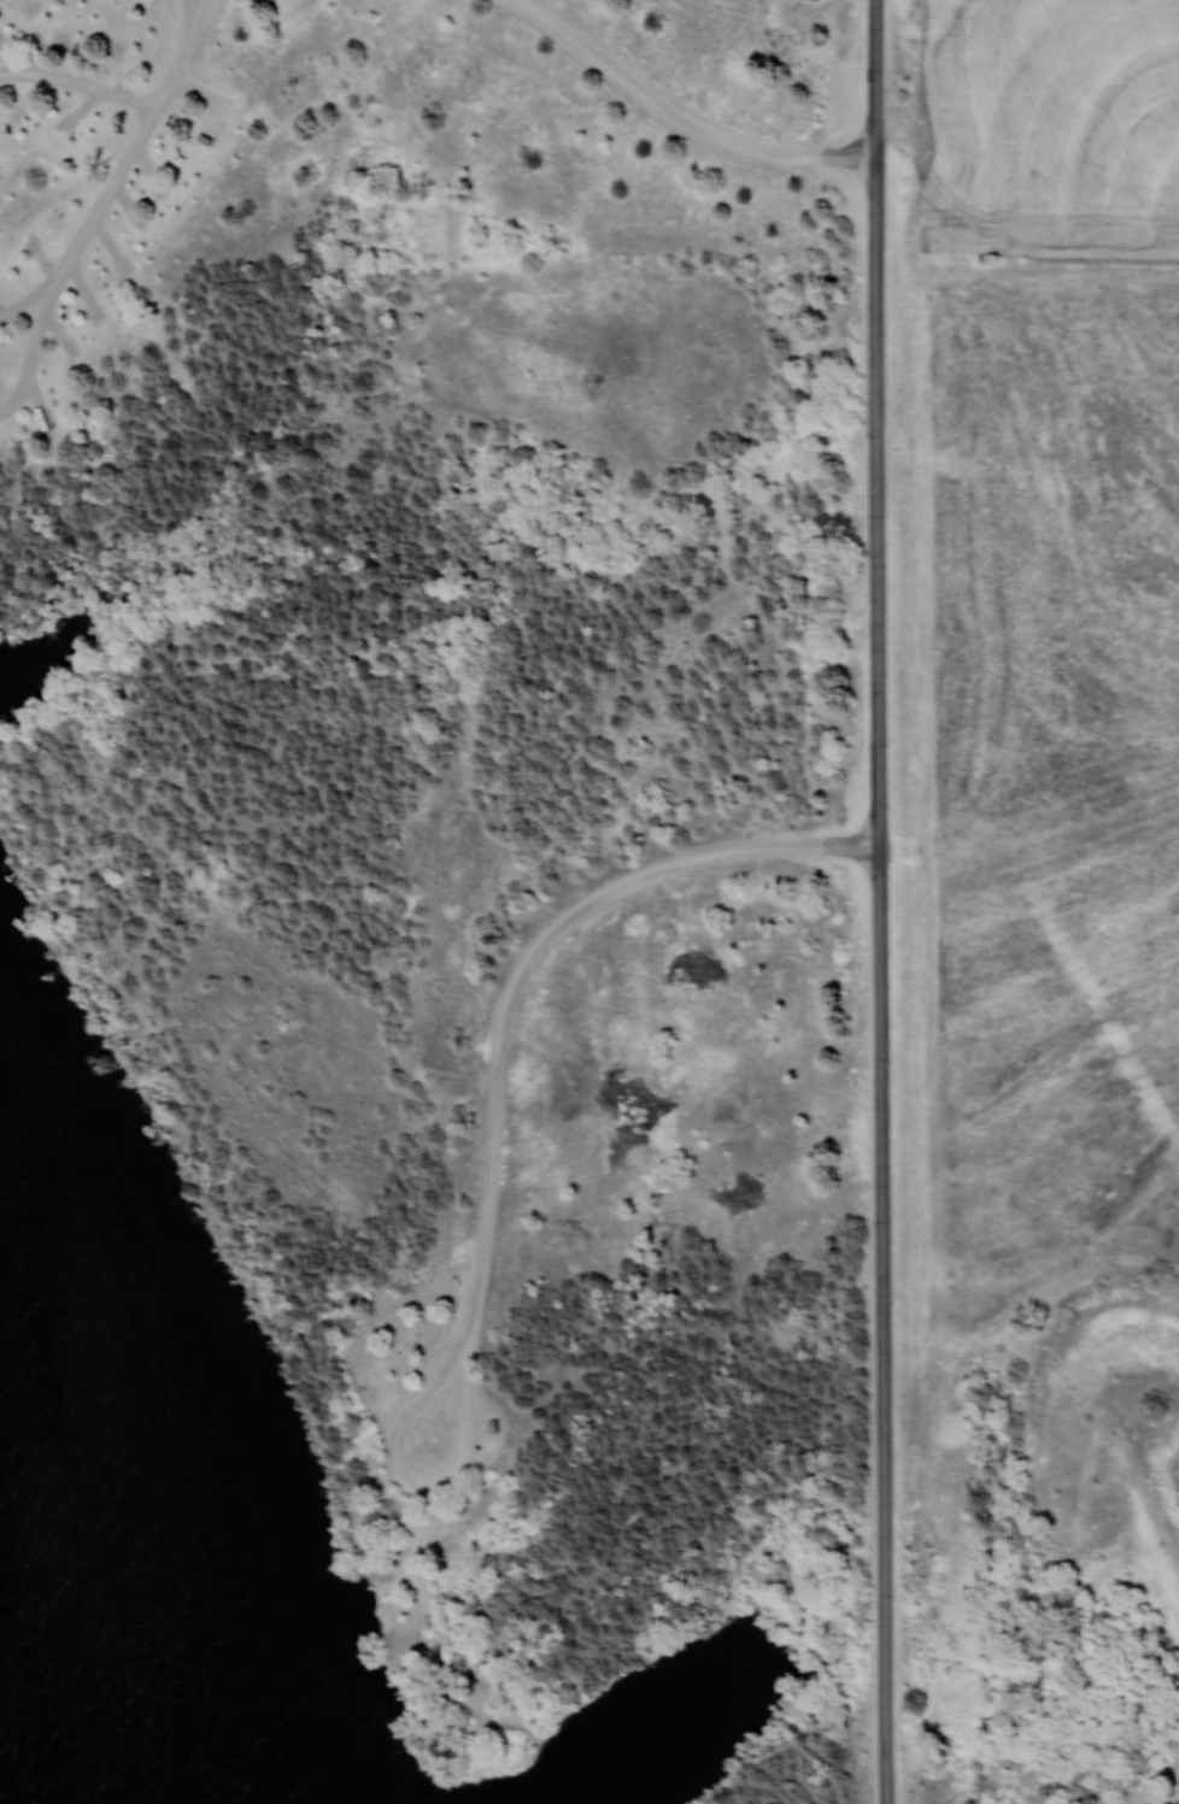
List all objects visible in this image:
road: (186, 16)
road: (80, 81)
road: (682, 119)
road: (135, 145)
road: (42, 327)
road: (884, 901)
park: (442, 903)
road: (527, 972)
building: (488, 1426)
dam: (1178, 1464)
road: (453, 1475)

